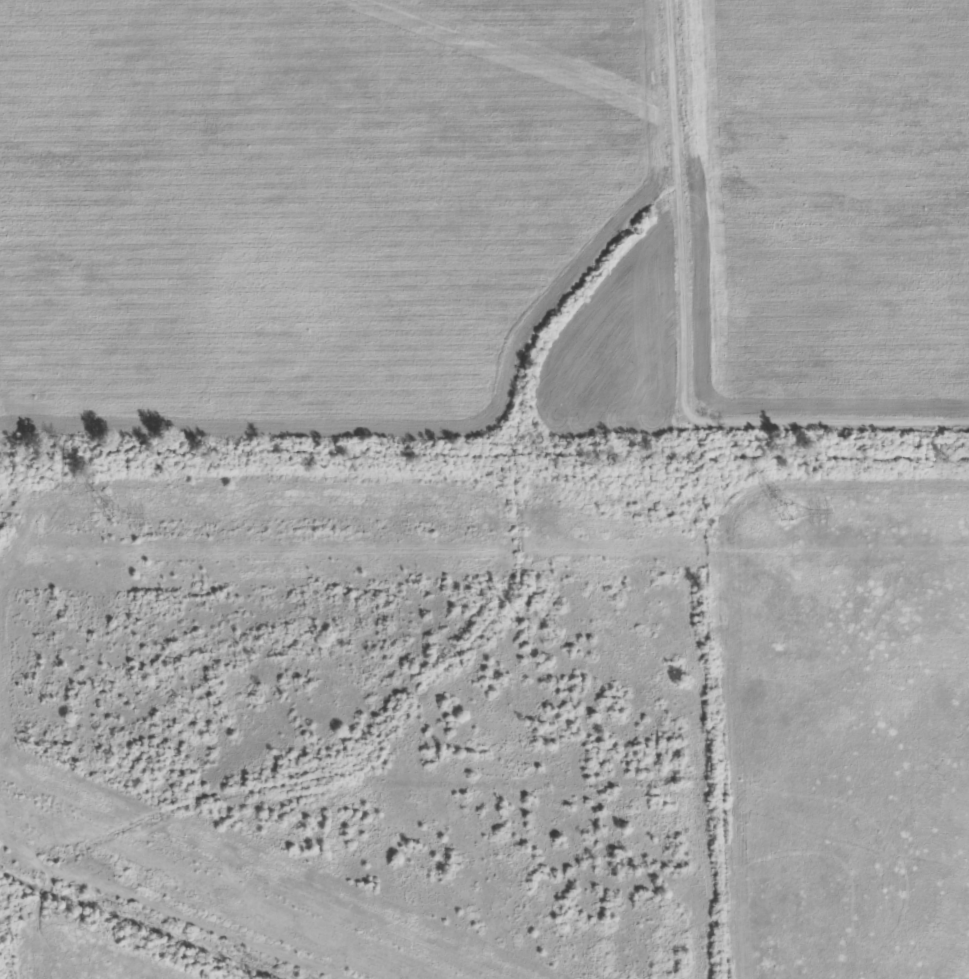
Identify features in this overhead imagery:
power tower: (787, 509)
power tower: (114, 513)

